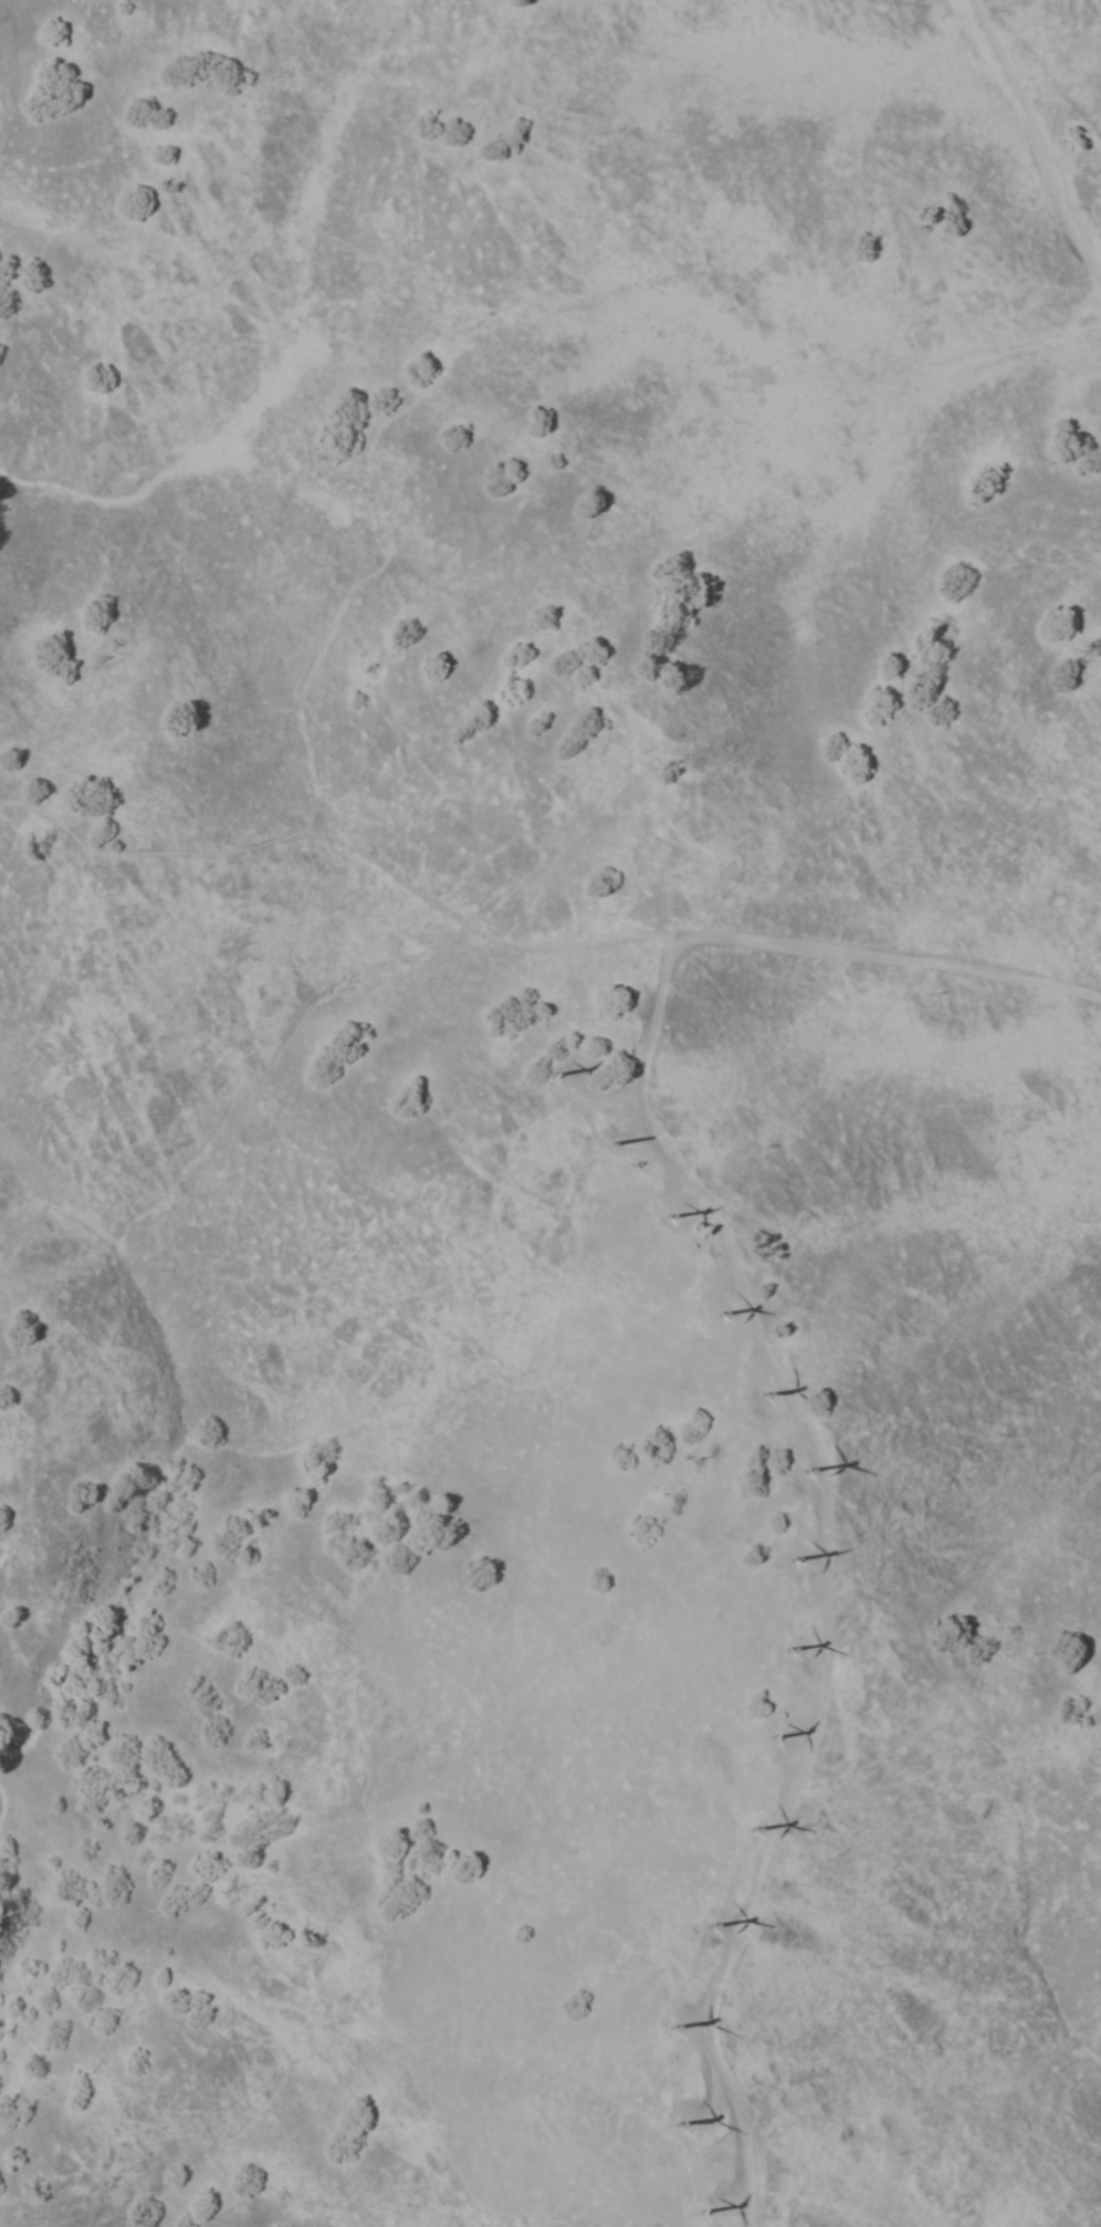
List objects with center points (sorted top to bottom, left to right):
road: (1038, 139)
road: (350, 838)
road: (895, 956)
wind turbine: (550, 1070)
road: (596, 1101)
wind turbine: (614, 1143)
wind turbine: (667, 1217)
wind turbine: (720, 1313)
wind turbine: (756, 1397)
wind turbine: (785, 1465)
wind turbine: (776, 1556)
road: (804, 1568)
wind turbine: (769, 1646)
wind turbine: (767, 1733)
wind turbine: (741, 1830)
road: (725, 1875)
wind turbine: (701, 1916)
wind turbine: (658, 2026)
road: (700, 2094)
wind turbine: (665, 2124)
wind turbine: (690, 2207)

